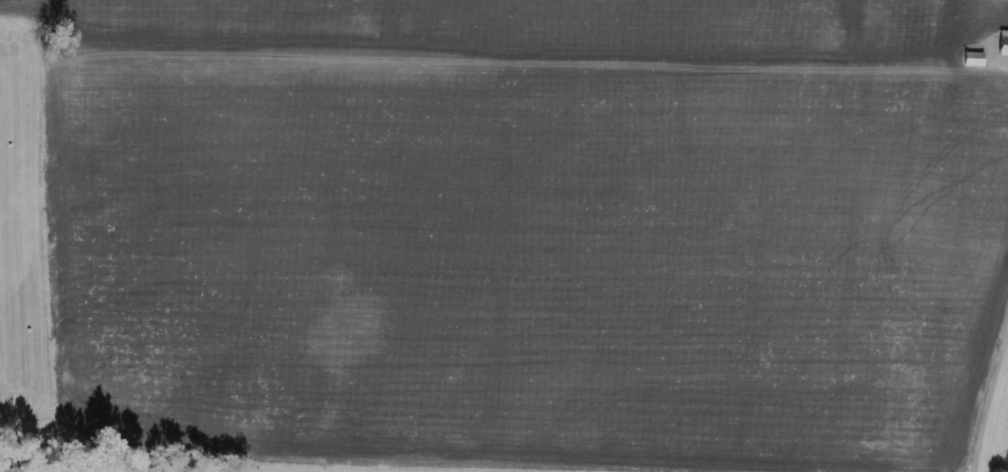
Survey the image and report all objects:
road: (997, 418)

